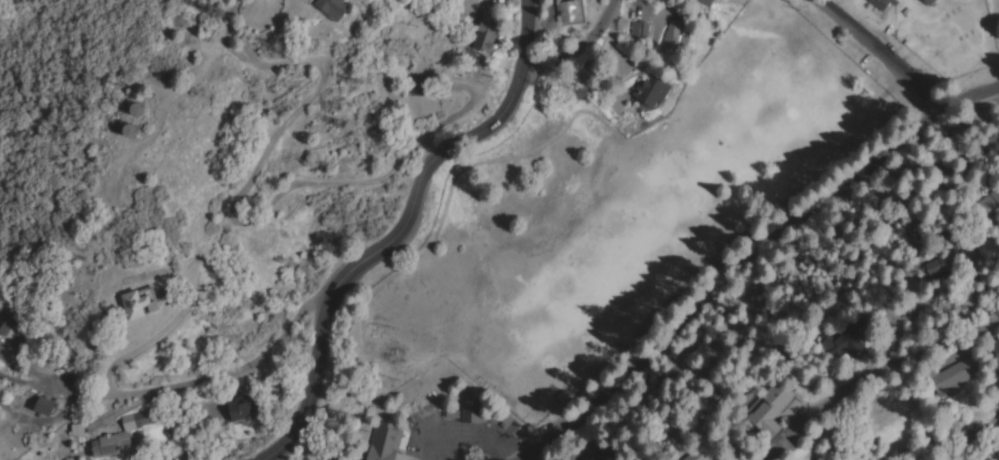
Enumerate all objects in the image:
building: (706, 2)
building: (928, 2)
building: (880, 4)
building: (338, 7)
building: (570, 10)
road: (996, 16)
building: (639, 29)
building: (488, 33)
building: (676, 35)
road: (575, 45)
road: (880, 55)
building: (652, 89)
road: (995, 93)
road: (969, 94)
building: (139, 106)
storage tank: (139, 106)
building: (133, 127)
storage tank: (133, 127)
road: (421, 173)
building: (993, 202)
building: (947, 261)
road: (732, 283)
building: (140, 303)
building: (848, 341)
building: (996, 342)
building: (958, 375)
road: (875, 380)
road: (168, 382)
building: (46, 406)
building: (774, 407)
building: (243, 408)
building: (472, 410)
road: (302, 414)
building: (143, 417)
road: (478, 436)
building: (385, 443)
building: (108, 445)
road: (561, 447)
building: (600, 454)
building: (696, 456)

